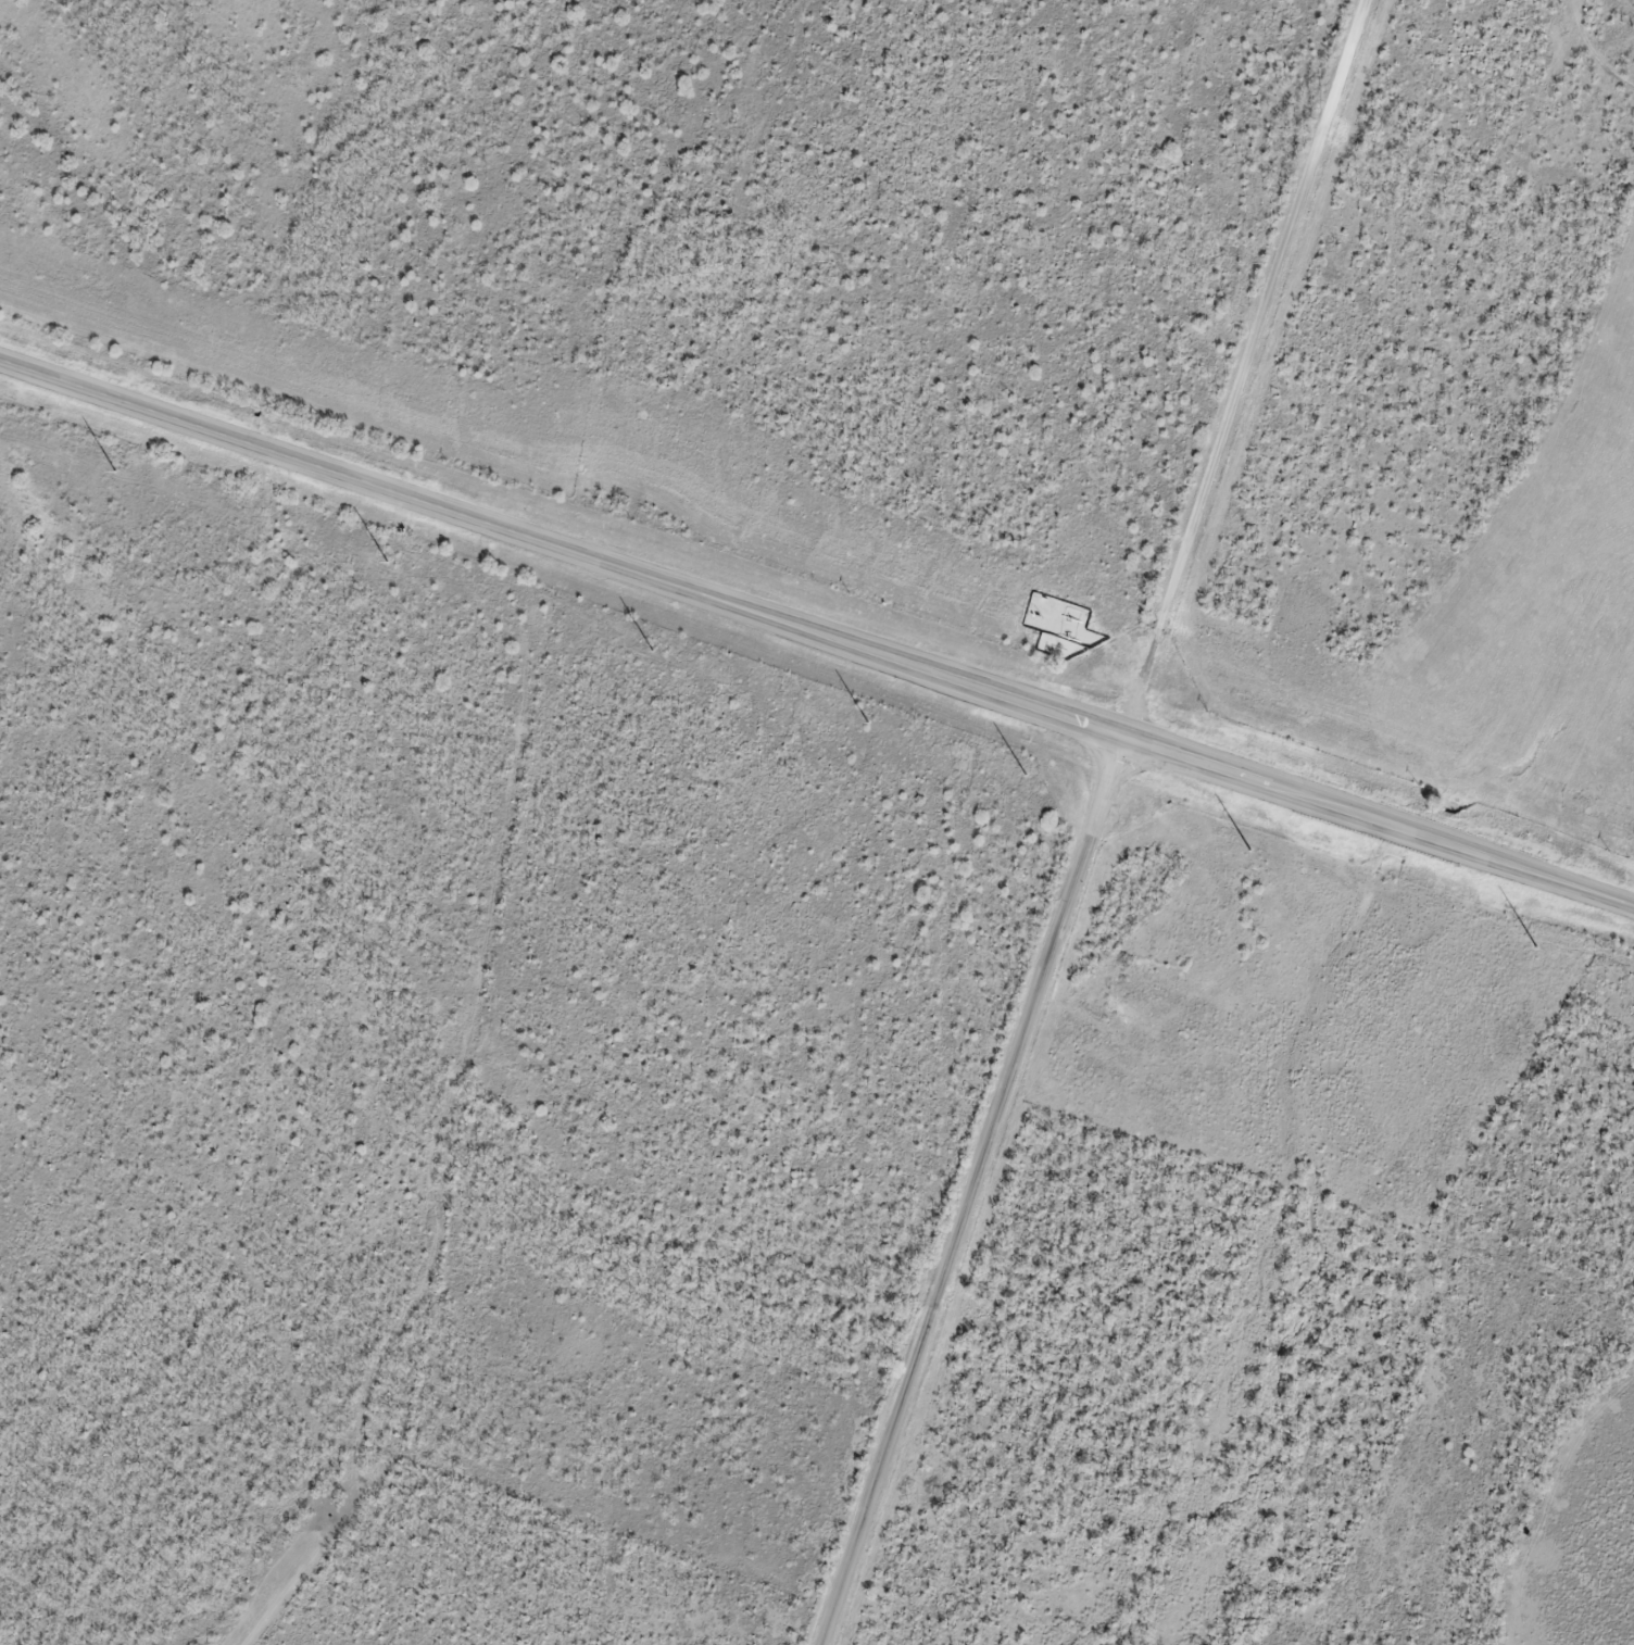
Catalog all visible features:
road: (1243, 369)
power tower: (116, 472)
power tower: (388, 561)
road: (816, 635)
power tower: (654, 651)
power tower: (868, 723)
power tower: (1026, 773)
power tower: (1252, 851)
power tower: (1537, 946)
road: (967, 1192)

